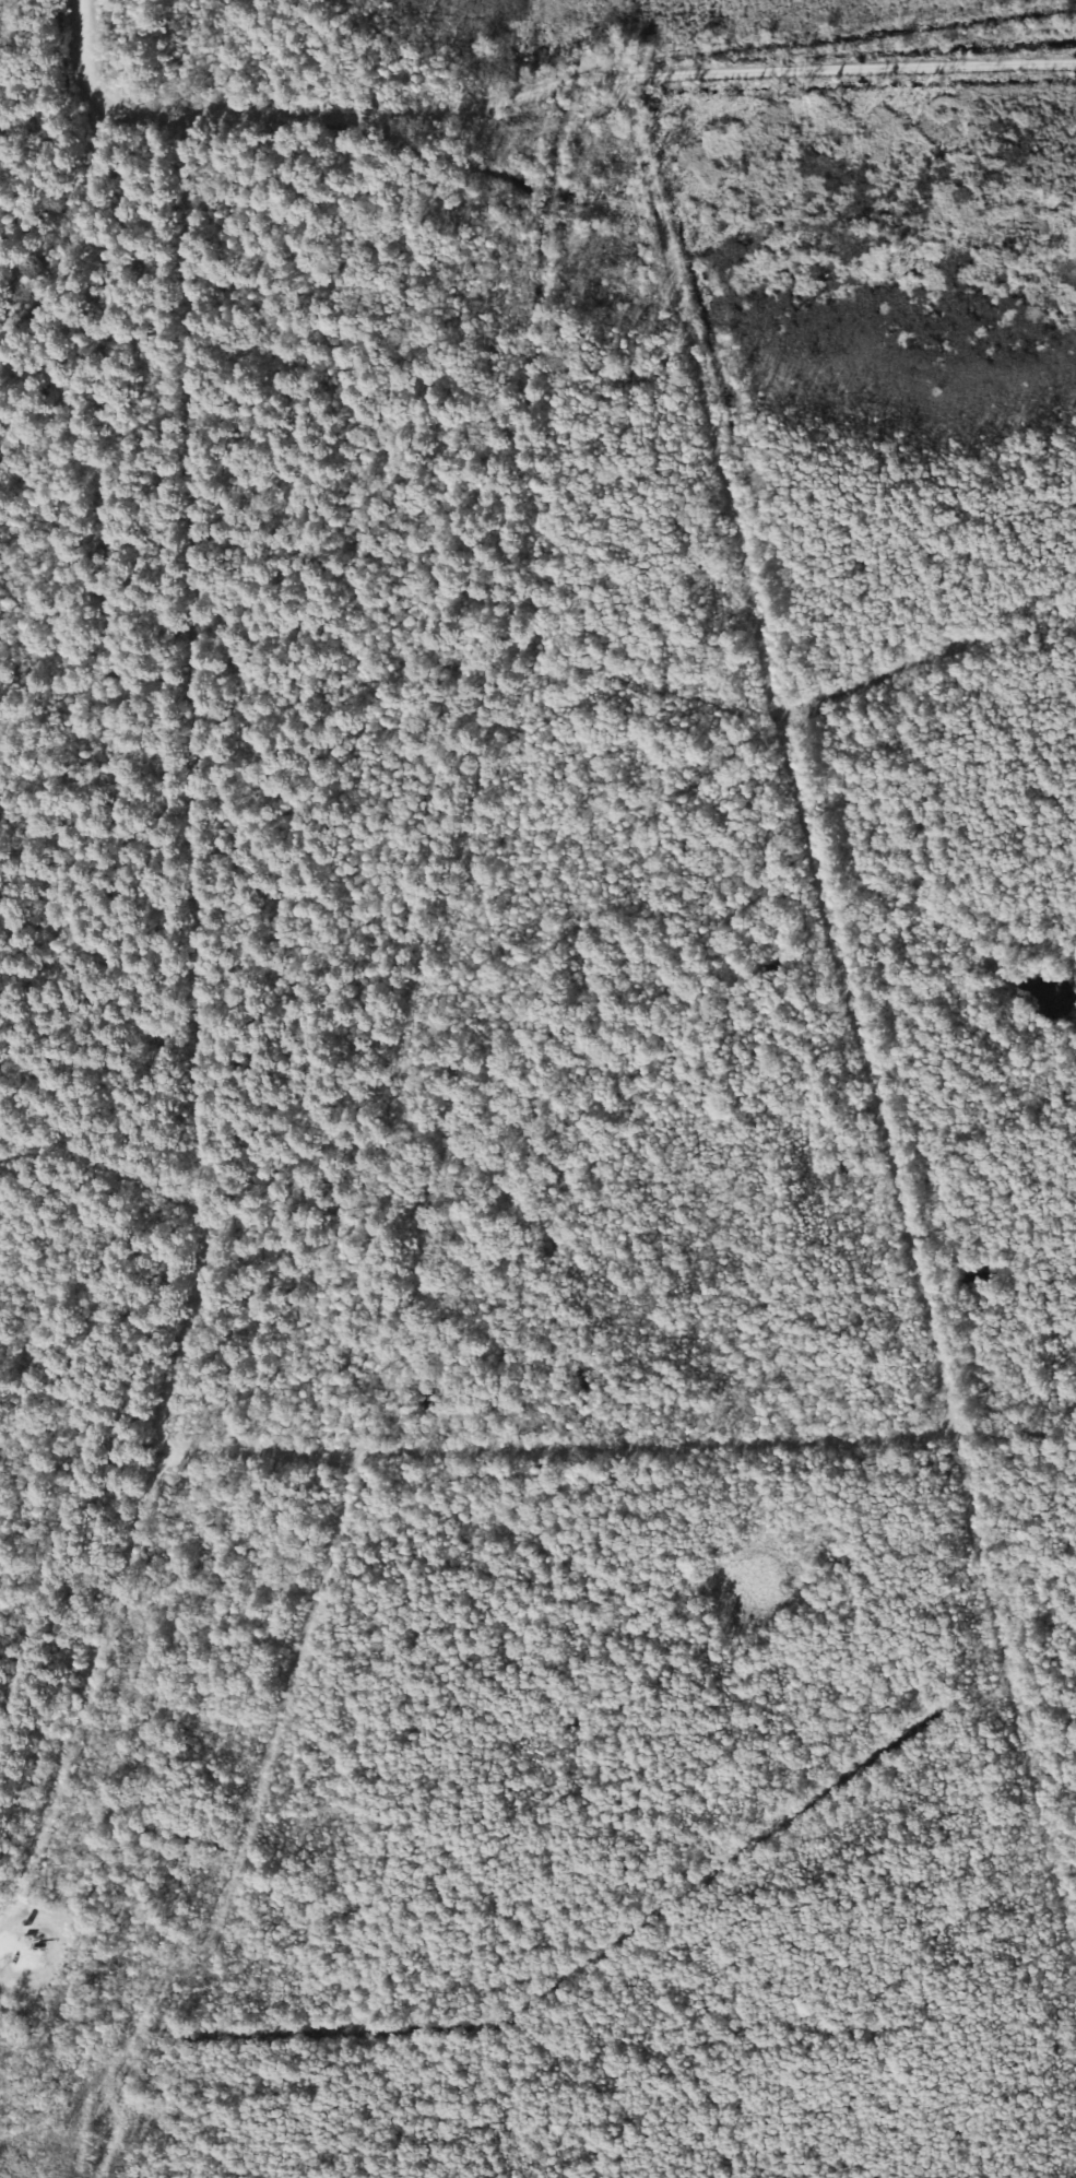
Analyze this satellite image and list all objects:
road: (523, 98)
road: (673, 365)

